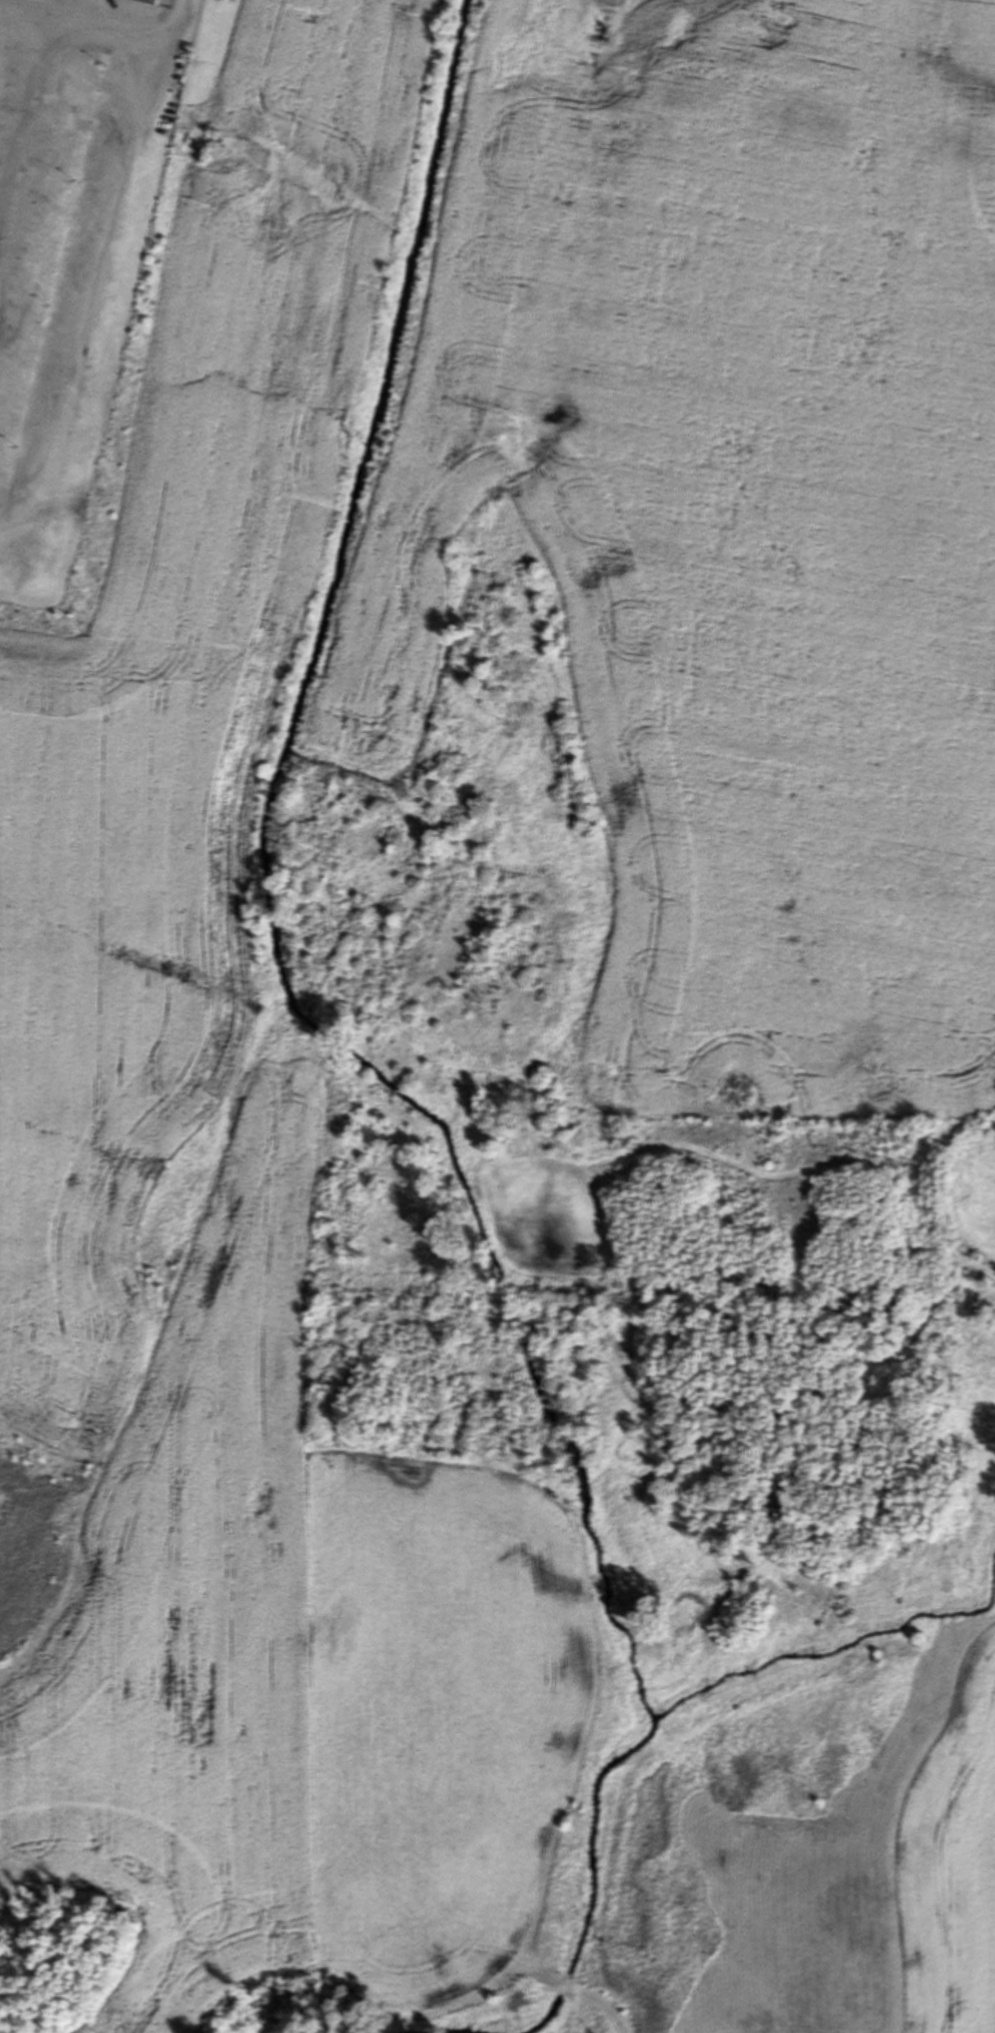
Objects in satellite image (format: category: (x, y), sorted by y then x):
building: (149, 2)
road: (22, 17)
road: (38, 59)

